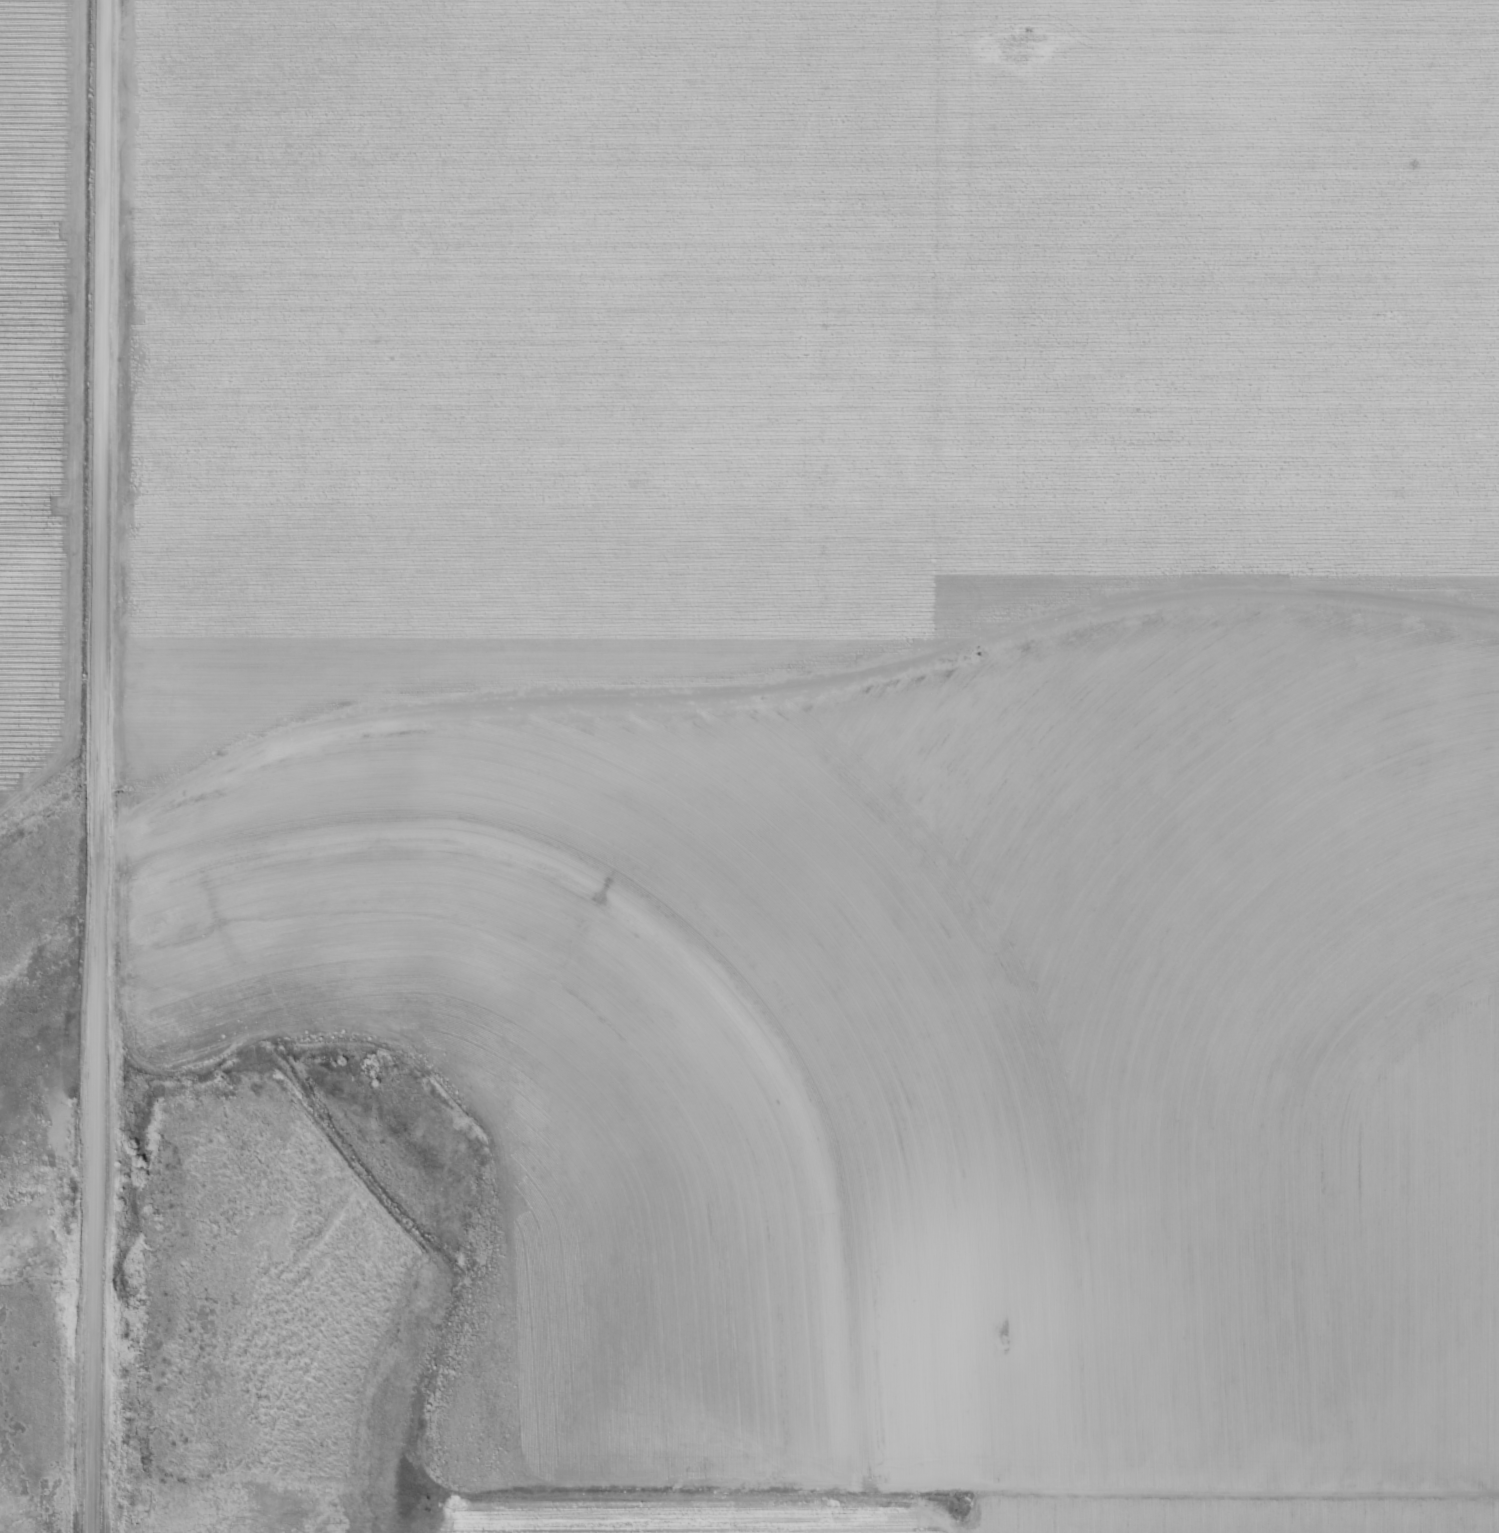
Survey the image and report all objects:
road: (101, 766)
road: (49, 810)

